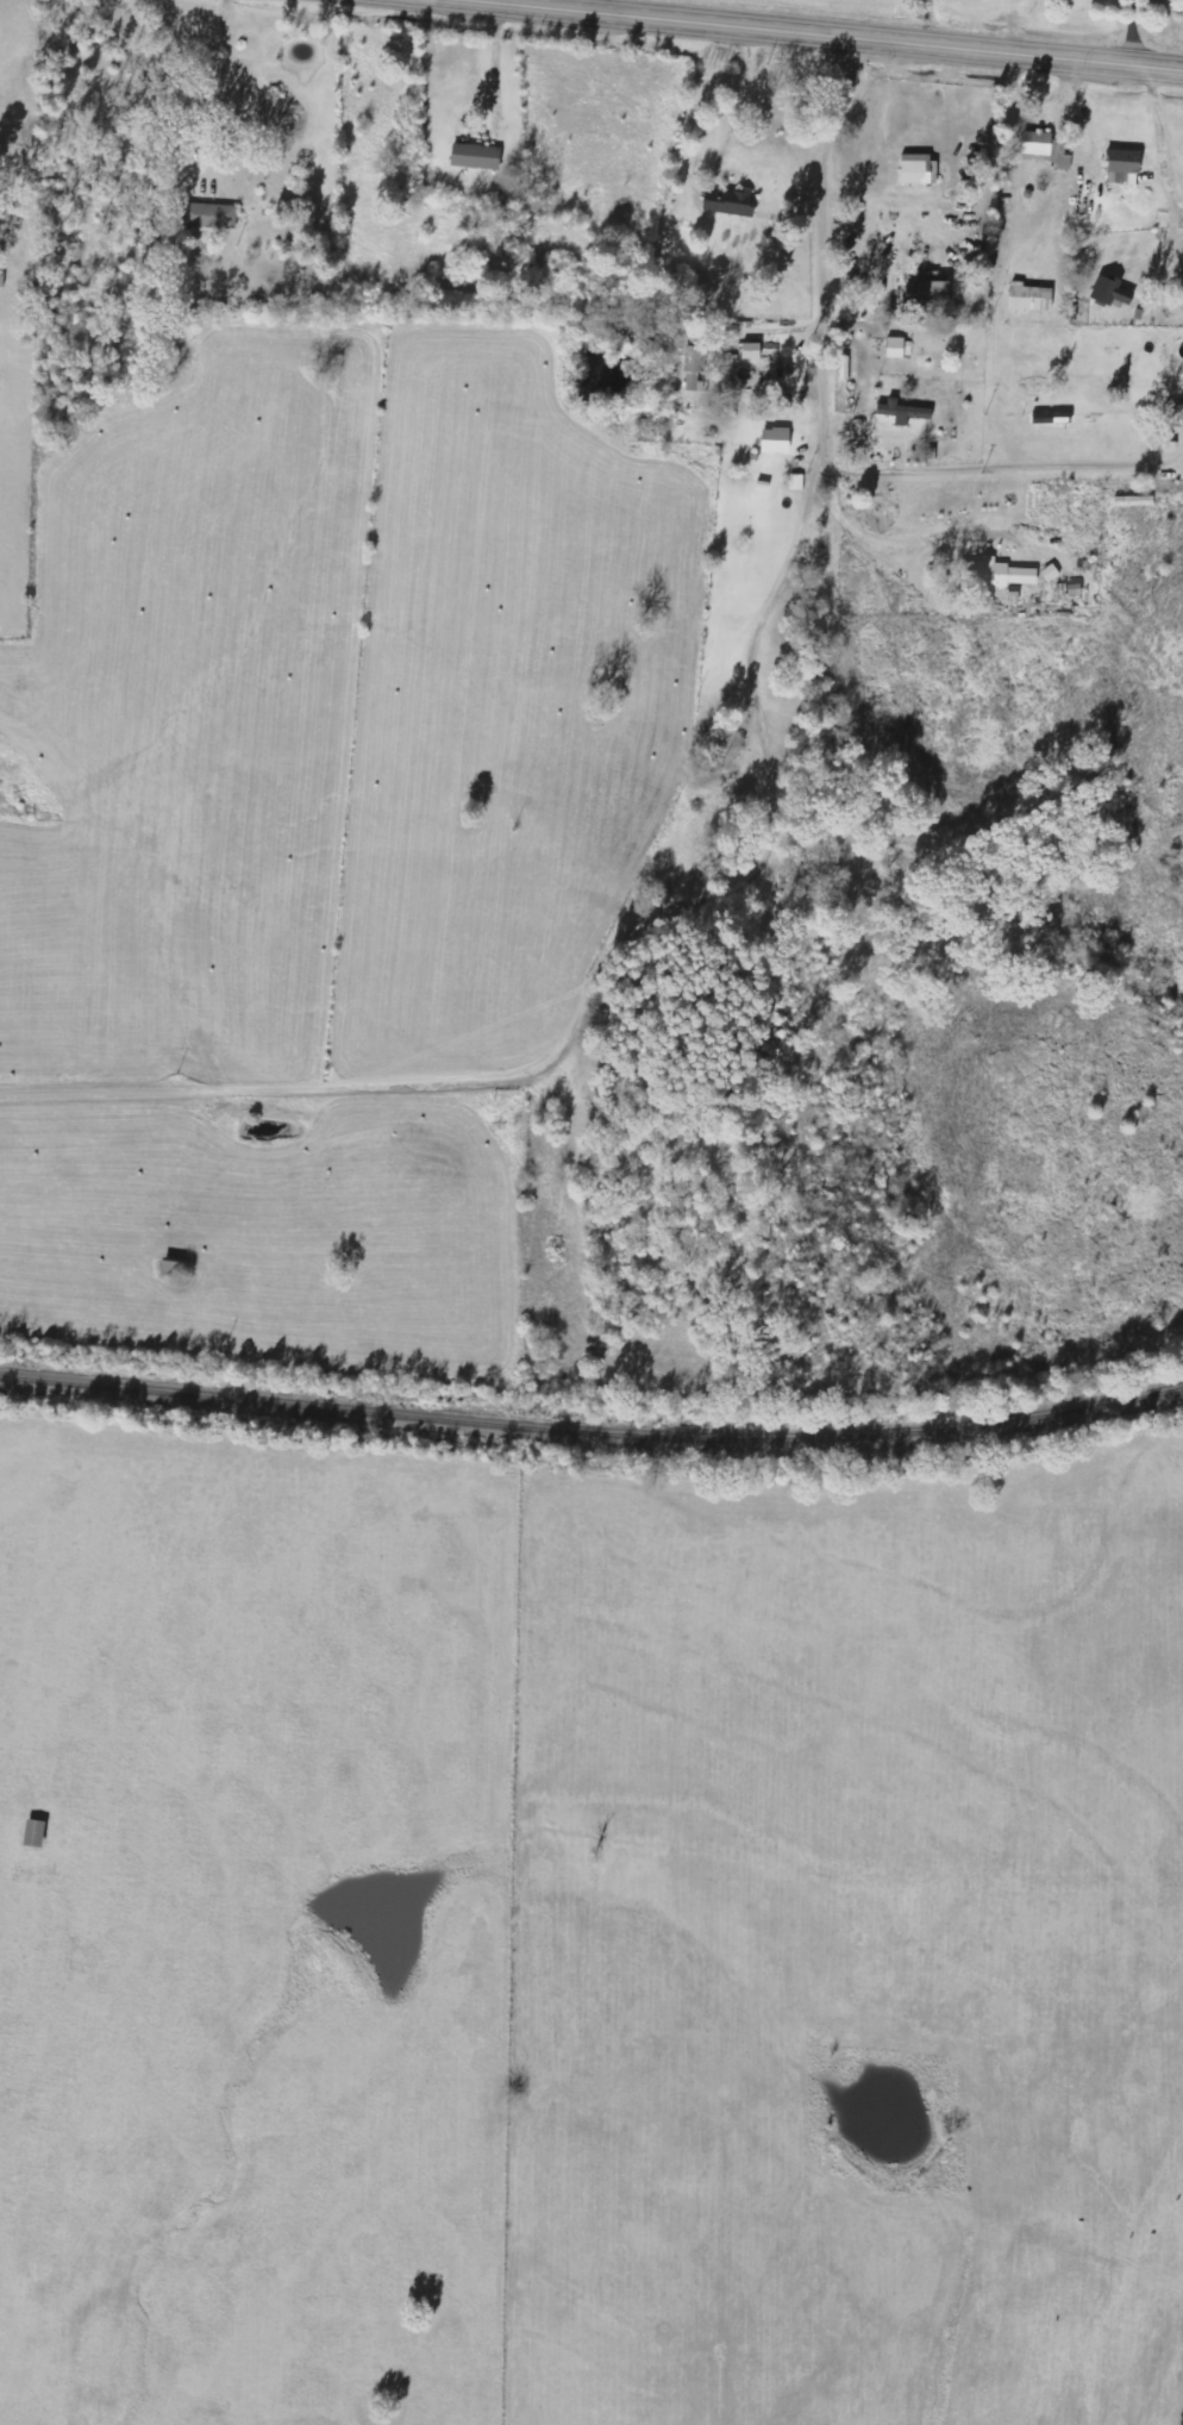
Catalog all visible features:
road: (607, 8)
road: (819, 36)
road: (490, 75)
building: (1046, 152)
building: (480, 157)
building: (1120, 168)
building: (915, 170)
building: (725, 202)
building: (214, 215)
building: (146, 243)
road: (1008, 256)
building: (926, 290)
building: (1109, 293)
building: (1027, 298)
road: (799, 342)
building: (897, 349)
building: (749, 351)
building: (691, 365)
building: (1173, 410)
building: (899, 412)
road: (752, 424)
building: (771, 440)
building: (796, 482)
road: (933, 556)
building: (996, 574)
road: (824, 673)
road: (558, 925)
railway: (591, 1431)

